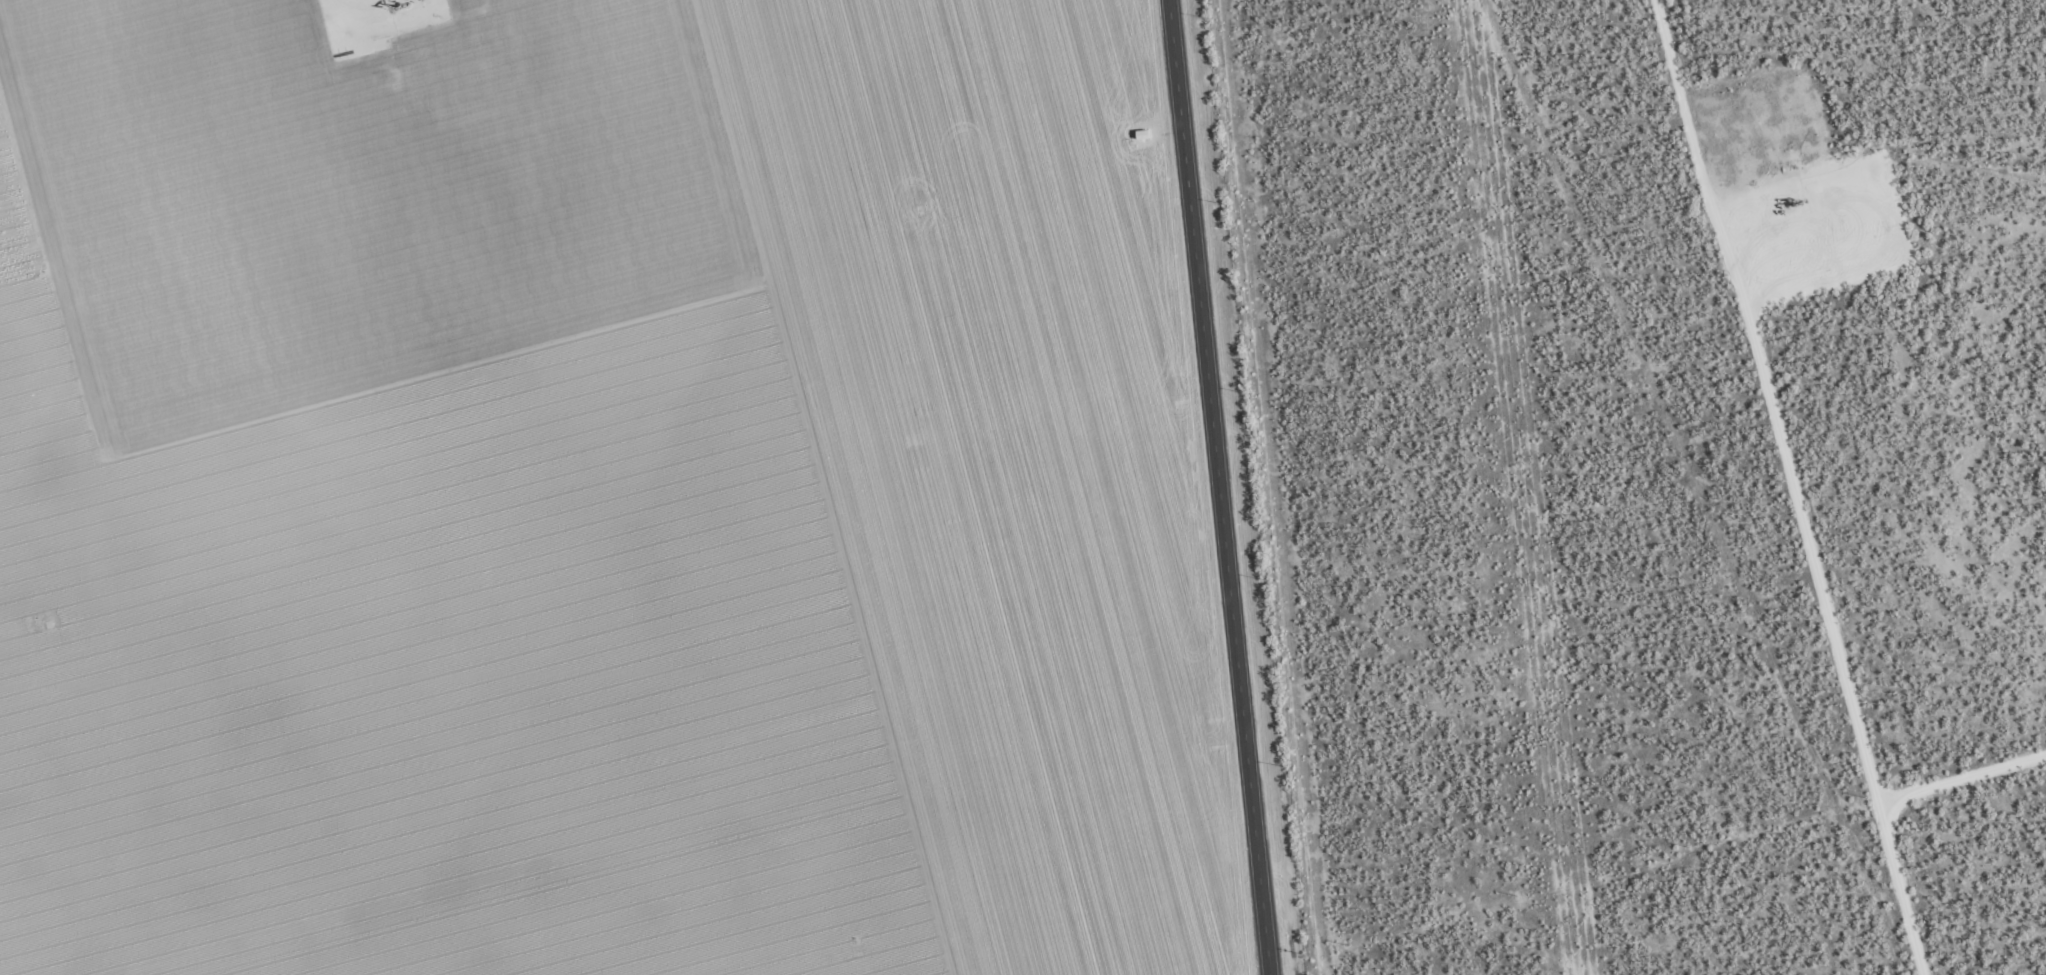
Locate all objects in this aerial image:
road: (1697, 486)
road: (1221, 487)
road: (116, 628)

